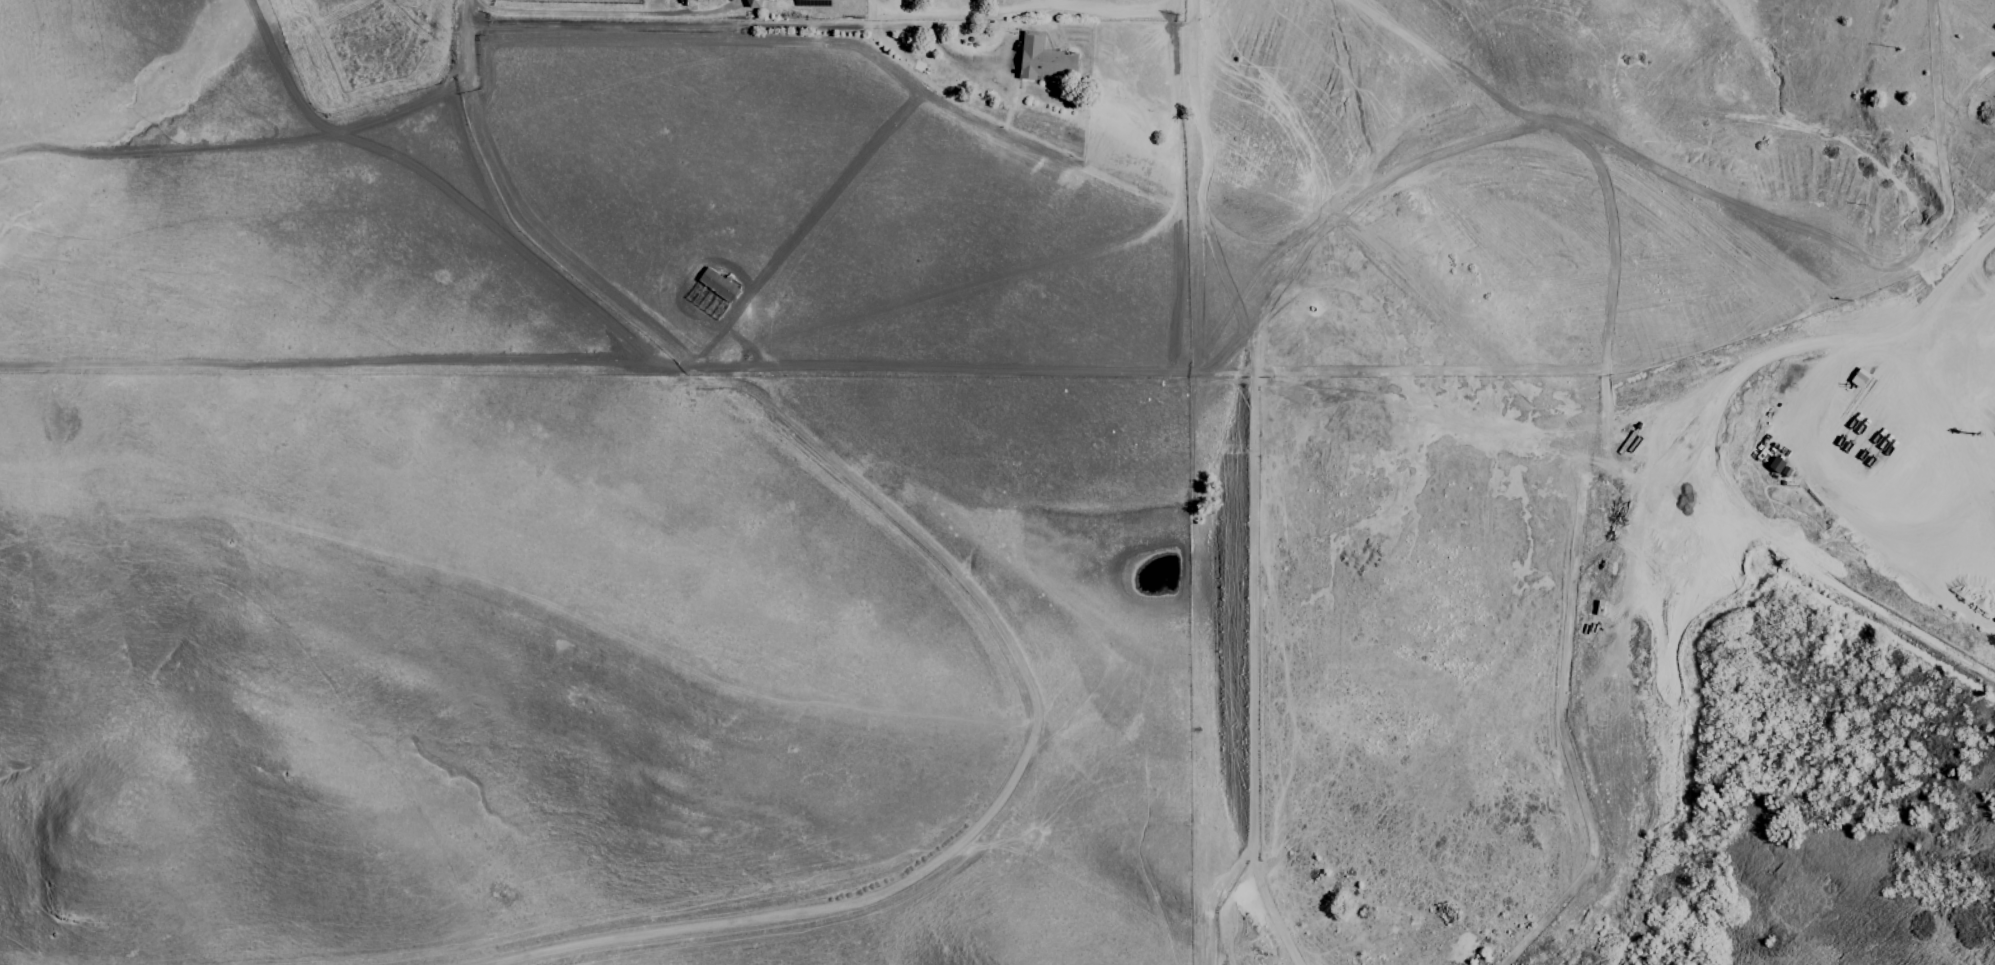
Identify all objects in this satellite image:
building: (753, 3)
road: (467, 13)
road: (583, 14)
road: (751, 27)
building: (1044, 58)
building: (717, 283)
road: (1881, 348)
building: (1859, 377)
road: (1744, 510)
road: (1990, 525)

